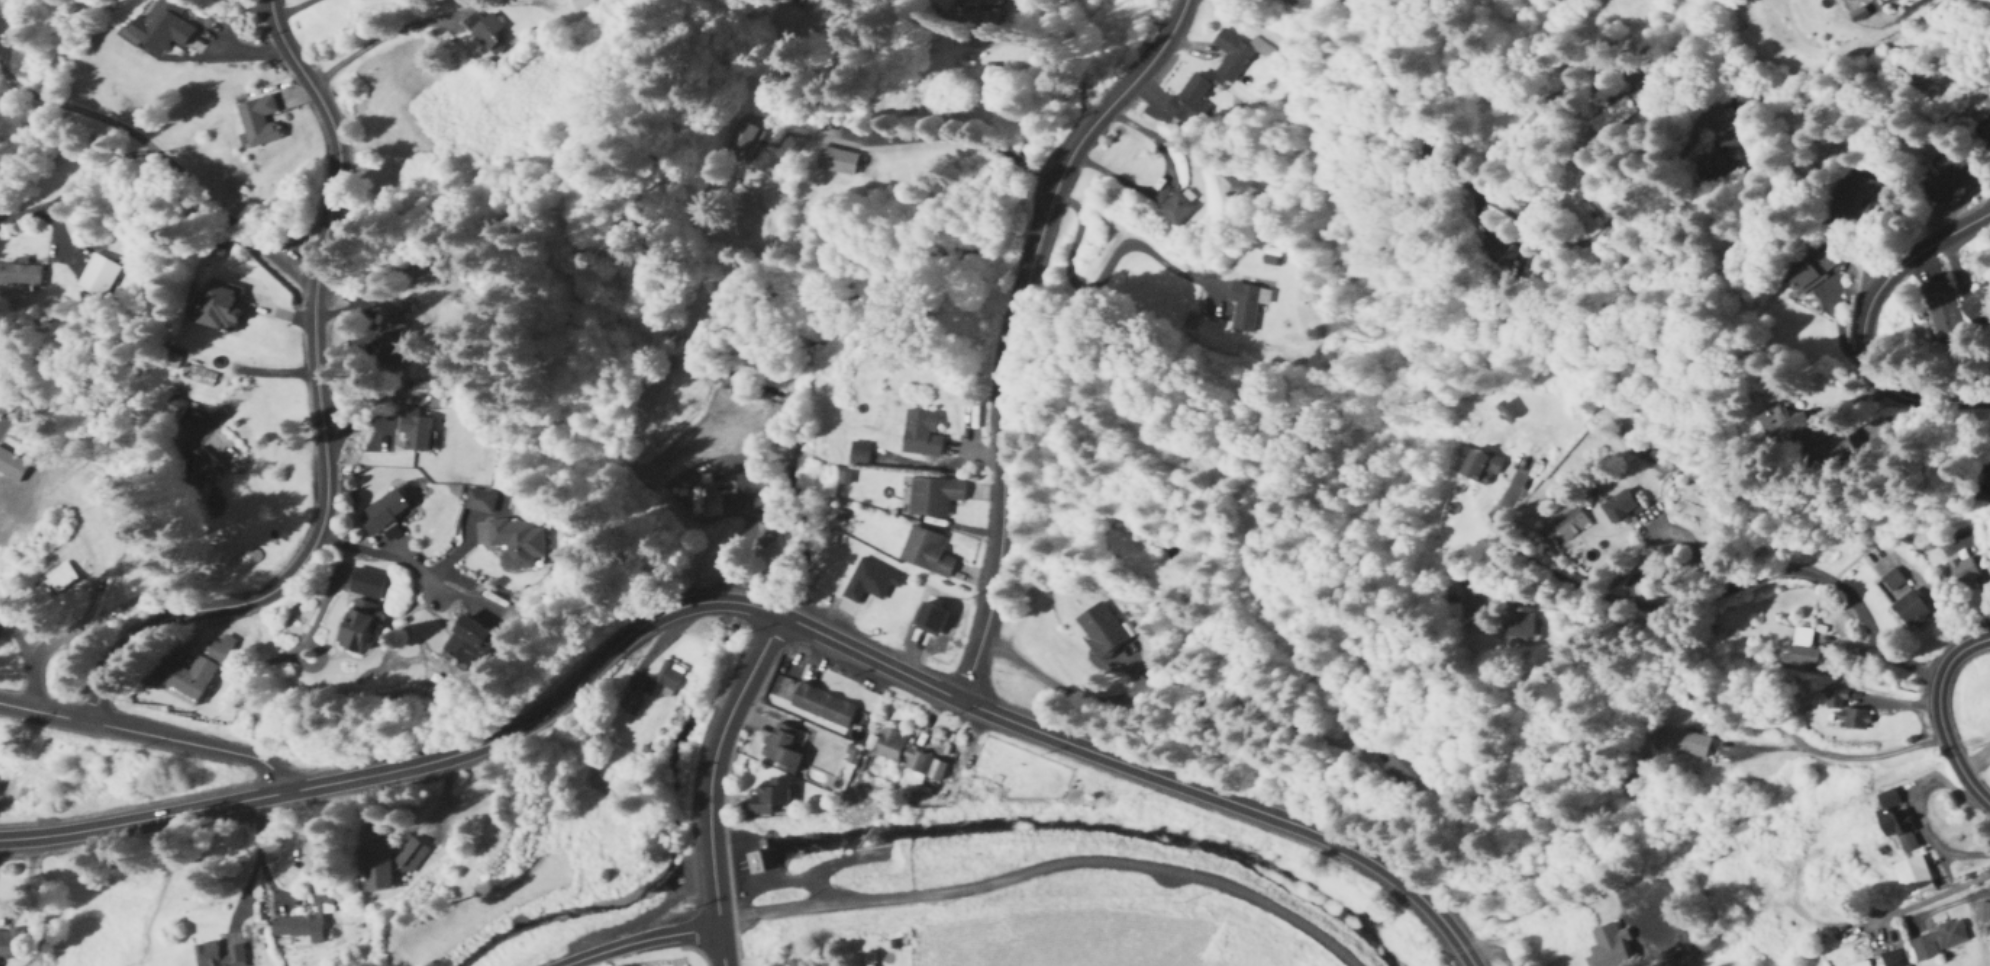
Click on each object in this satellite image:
building: (576, 4)
building: (979, 4)
building: (809, 7)
road: (298, 10)
building: (1857, 14)
building: (160, 27)
building: (484, 34)
road: (367, 44)
building: (1237, 54)
road: (1151, 56)
building: (1190, 101)
road: (1541, 108)
building: (1618, 112)
building: (257, 121)
road: (1091, 131)
road: (923, 133)
building: (1985, 133)
building: (739, 141)
road: (1020, 153)
road: (165, 158)
building: (1721, 159)
building: (835, 162)
road: (1066, 163)
road: (1044, 164)
building: (1940, 179)
road: (1164, 182)
road: (1054, 186)
building: (1256, 197)
building: (1850, 203)
building: (1175, 210)
road: (1509, 211)
building: (1269, 261)
road: (1103, 263)
building: (1810, 271)
building: (19, 277)
building: (96, 277)
building: (1976, 306)
building: (219, 307)
building: (1246, 307)
building: (1939, 312)
road: (1865, 324)
building: (390, 340)
road: (281, 372)
building: (173, 407)
building: (1505, 411)
road: (324, 420)
building: (1780, 431)
building: (413, 432)
building: (920, 434)
road: (998, 450)
building: (858, 453)
building: (1477, 466)
building: (1983, 467)
building: (203, 468)
building: (933, 497)
building: (706, 499)
building: (478, 501)
building: (1618, 509)
building: (383, 510)
building: (514, 544)
building: (926, 552)
road: (383, 554)
building: (1962, 570)
road: (1816, 576)
building: (58, 578)
road: (165, 579)
building: (1892, 580)
building: (366, 584)
road: (1632, 602)
road: (89, 606)
road: (755, 606)
building: (1909, 610)
building: (354, 626)
building: (1516, 628)
building: (1100, 630)
road: (47, 645)
building: (463, 645)
building: (1803, 650)
road: (284, 654)
road: (26, 660)
building: (190, 672)
building: (663, 681)
road: (1076, 696)
building: (822, 706)
building: (1846, 711)
road: (1939, 716)
road: (148, 734)
building: (1687, 743)
building: (784, 748)
building: (905, 755)
road: (1869, 759)
building: (1407, 773)
road: (711, 782)
building: (769, 798)
road: (1930, 815)
building: (1894, 820)
road: (1965, 824)
road: (249, 852)
building: (407, 856)
building: (756, 864)
building: (373, 867)
road: (1045, 869)
building: (1912, 877)
road: (1918, 898)
building: (307, 927)
road: (1664, 938)
building: (1936, 941)
road: (644, 944)
building: (15, 947)
building: (1607, 947)
road: (1490, 948)
building: (225, 955)
building: (869, 955)
building: (1889, 959)

